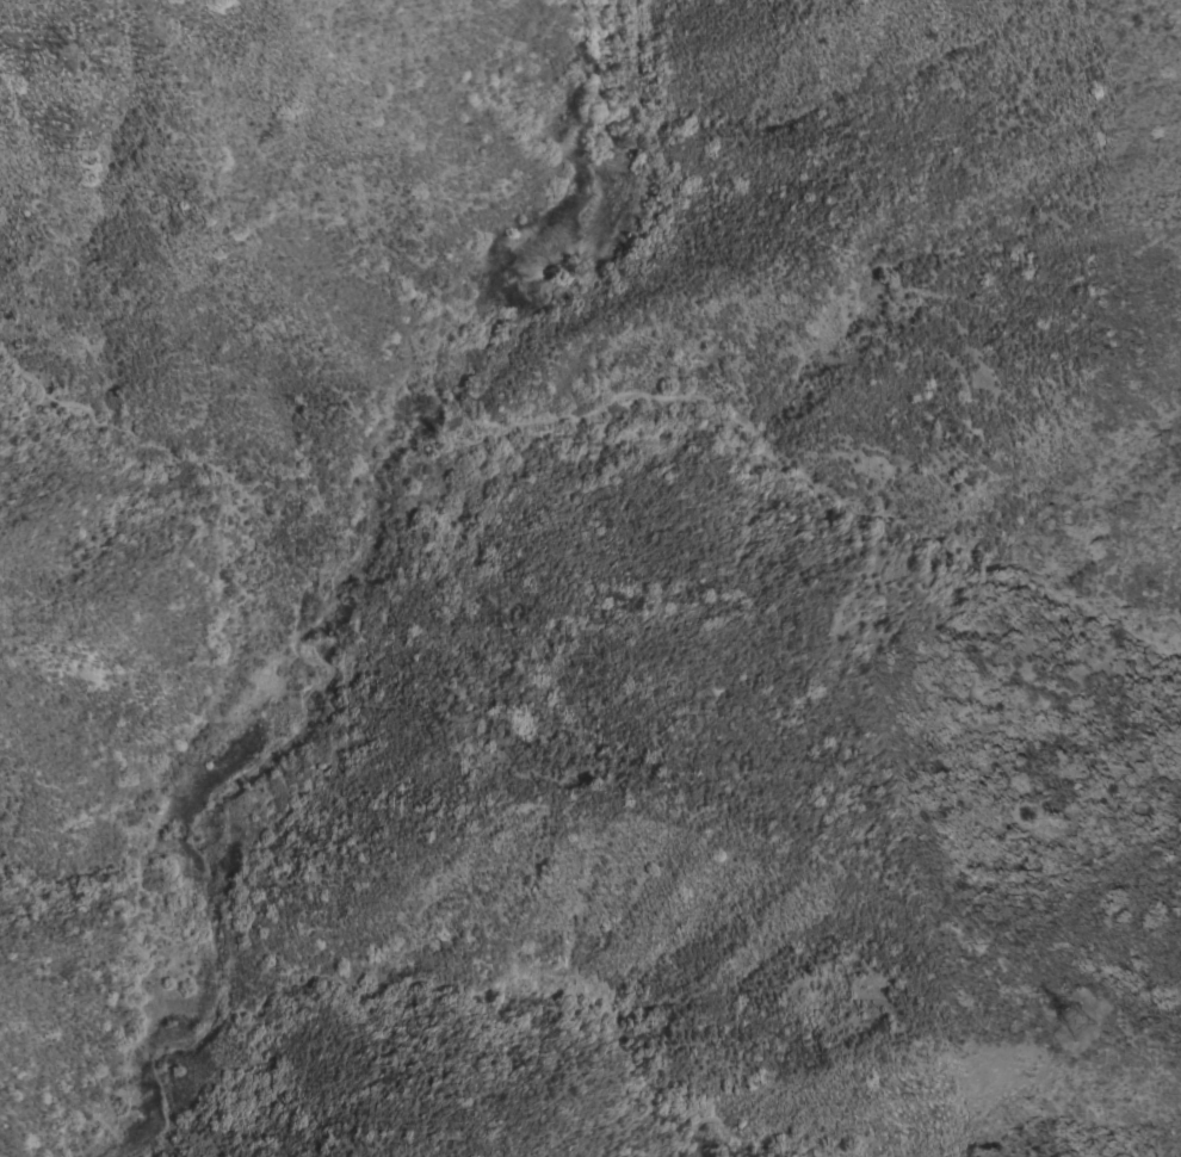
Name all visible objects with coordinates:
power tower: (1080, 1023)

